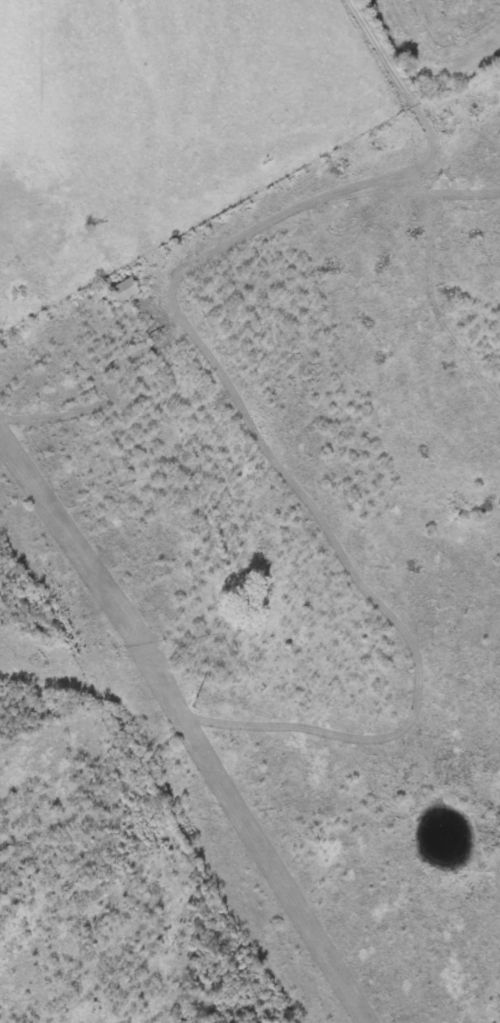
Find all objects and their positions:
power tower: (195, 702)

